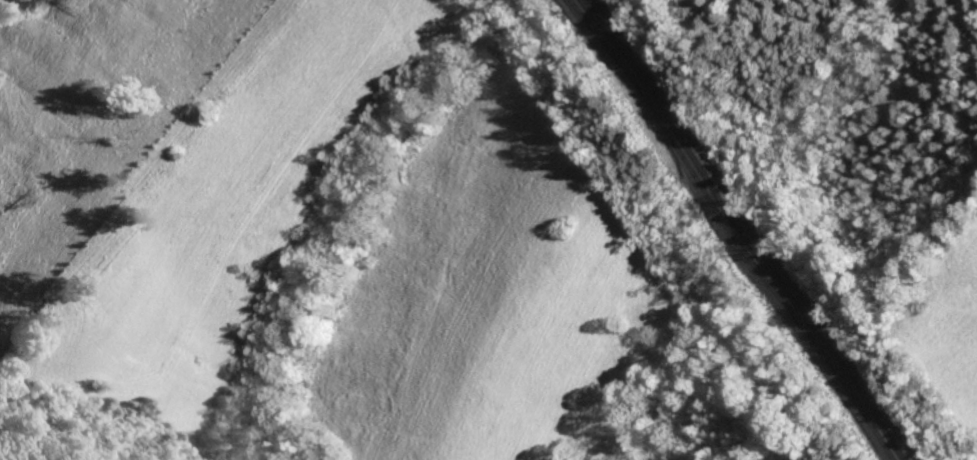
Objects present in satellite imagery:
road: (838, 91)
railway: (736, 230)
railway: (747, 230)

